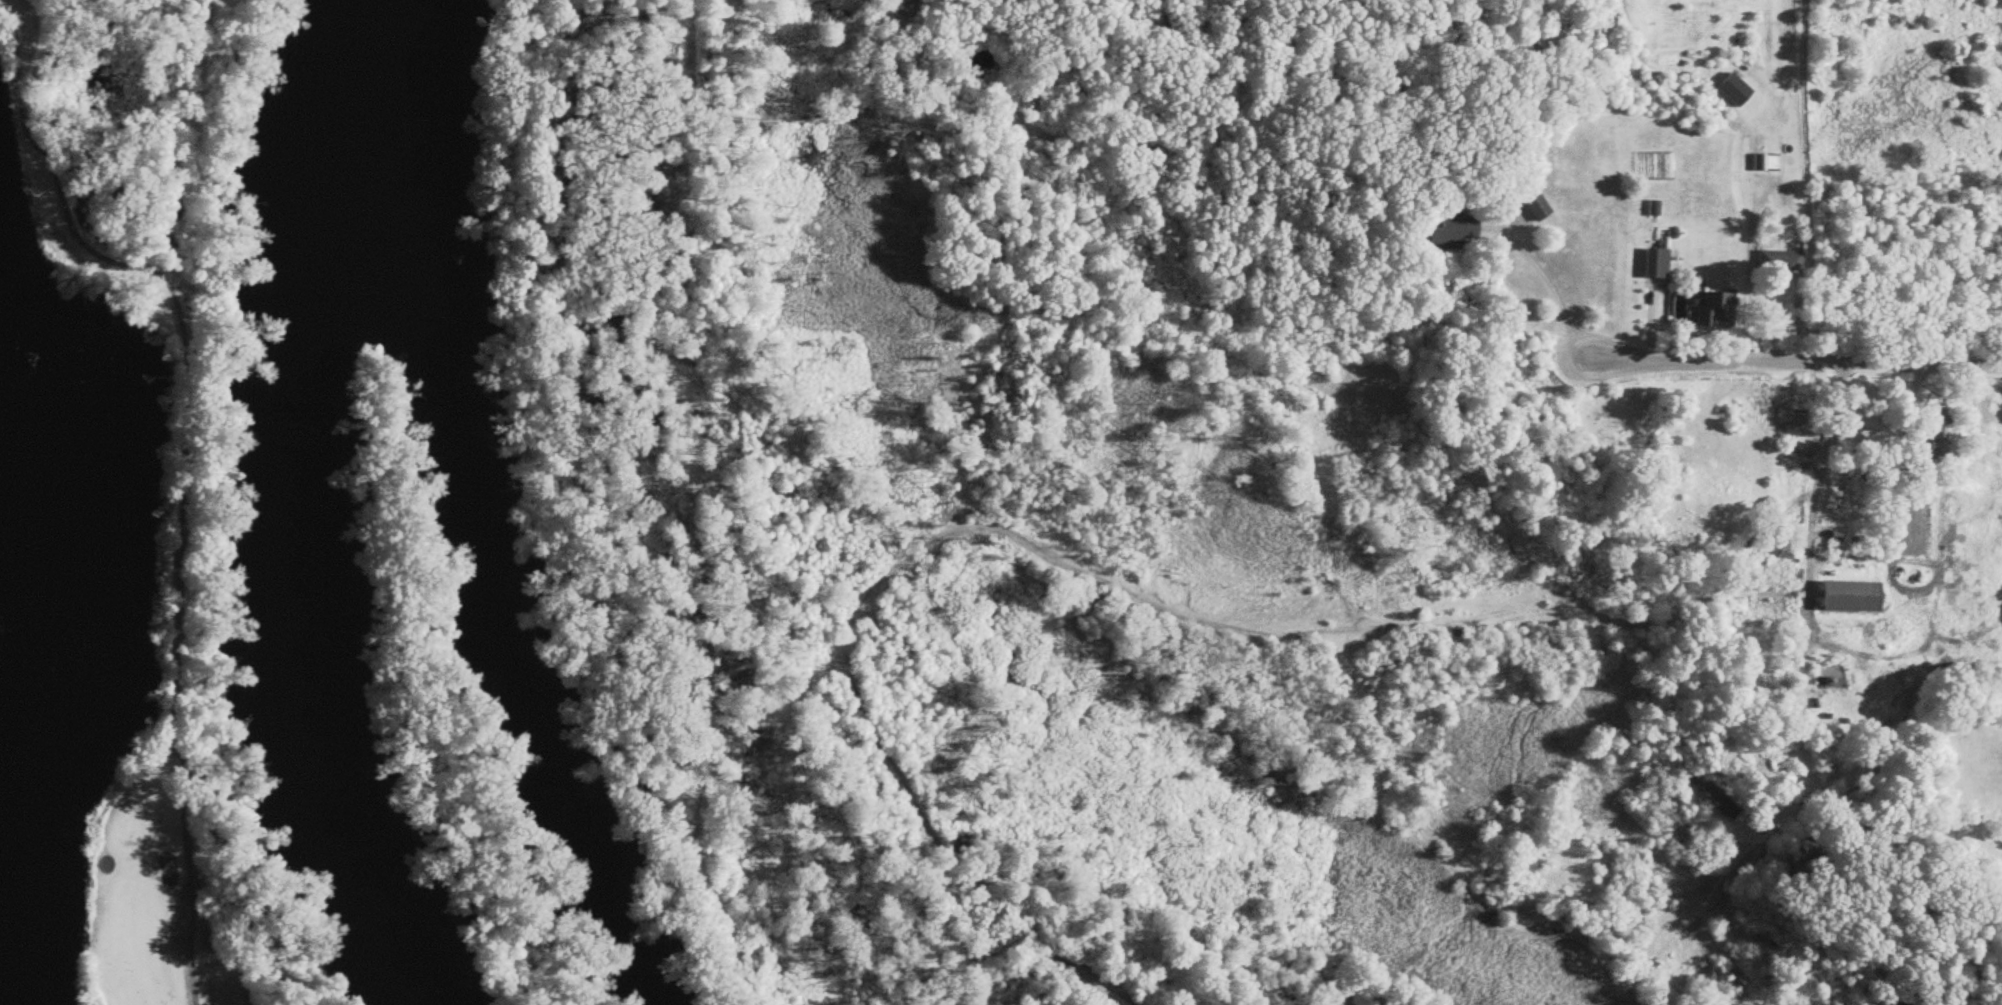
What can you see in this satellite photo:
building: (1767, 164)
road: (1808, 181)
building: (1538, 210)
building: (1453, 232)
building: (1781, 262)
building: (1657, 264)
road: (1550, 287)
building: (1716, 311)
road: (1793, 361)
building: (1939, 437)
building: (1909, 465)
river: (291, 506)
park: (121, 561)
building: (1851, 598)
road: (1151, 603)
building: (1821, 676)
building: (1711, 793)

